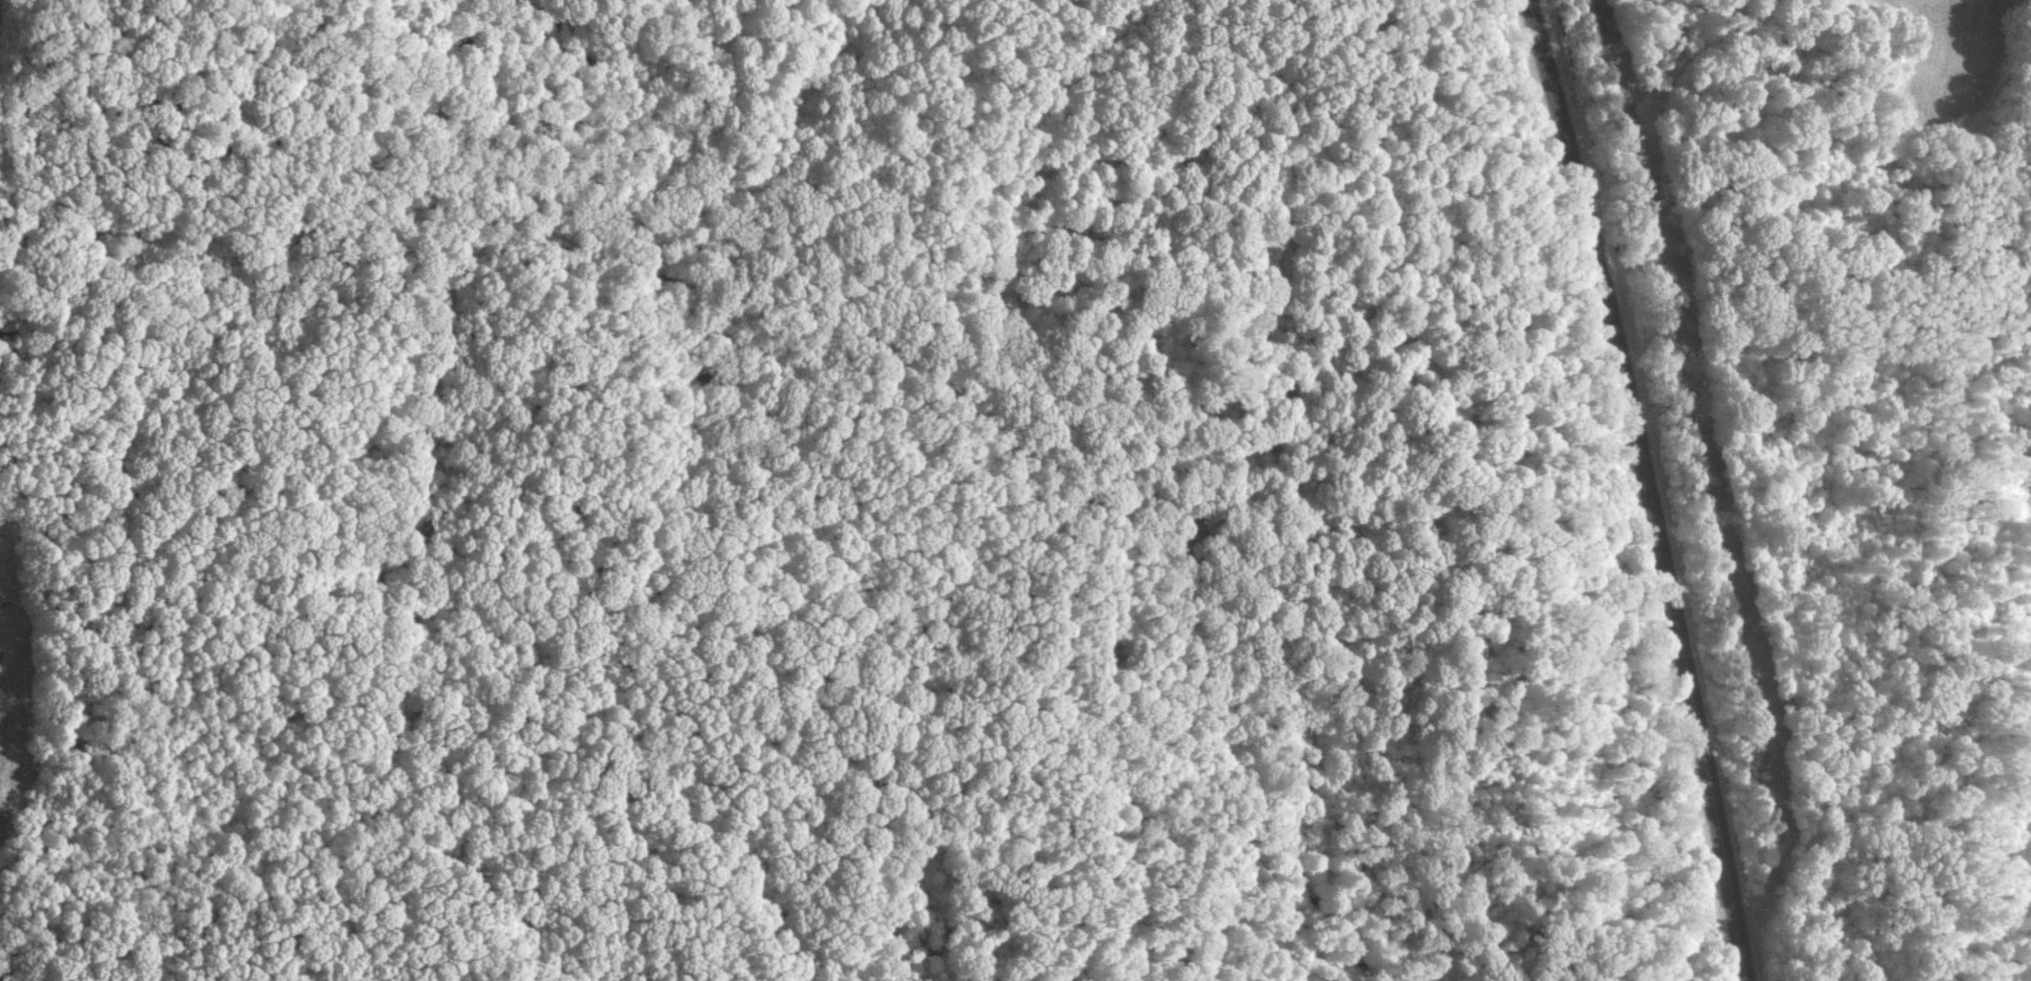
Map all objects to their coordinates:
road: (1651, 487)

